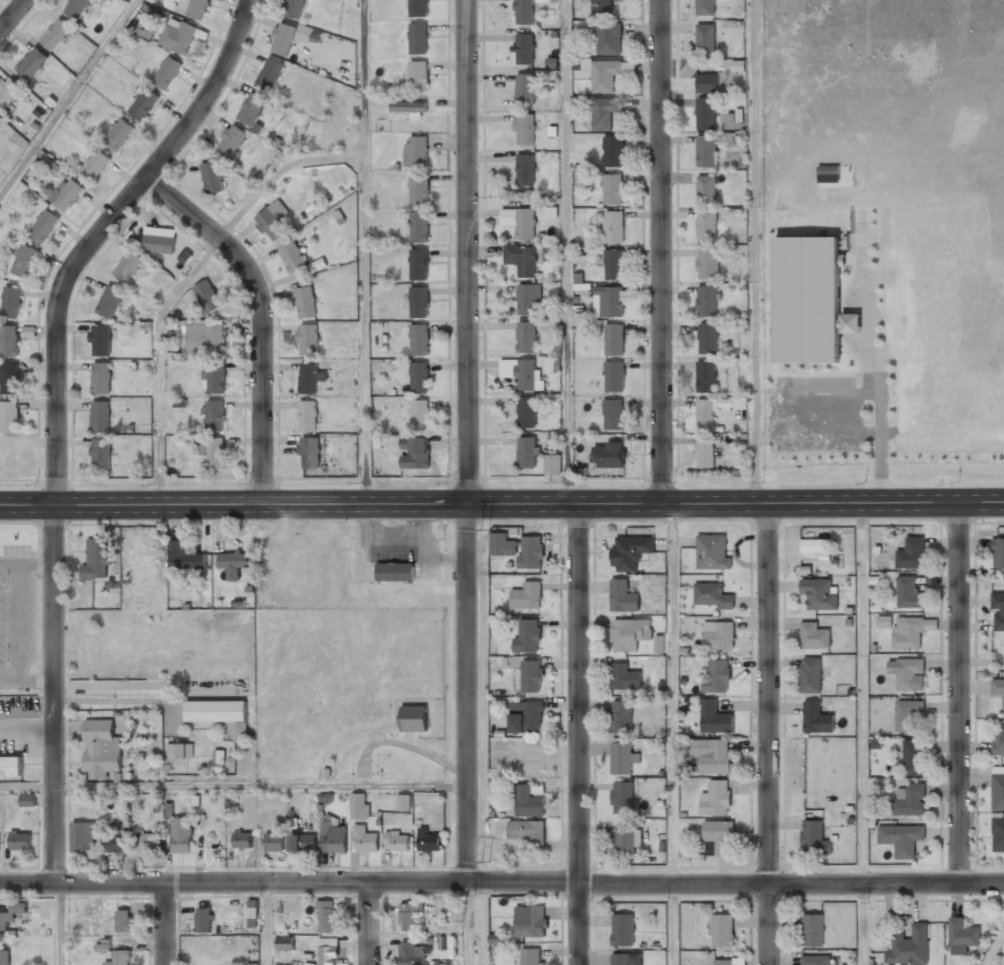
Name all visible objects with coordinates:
building: (73, 7)
building: (418, 7)
building: (703, 7)
building: (195, 8)
building: (292, 8)
building: (601, 8)
building: (524, 11)
road: (12, 14)
building: (144, 30)
building: (55, 33)
building: (178, 34)
building: (418, 38)
building: (609, 38)
building: (704, 38)
building: (282, 39)
building: (524, 48)
building: (30, 62)
building: (166, 72)
building: (609, 73)
building: (269, 74)
building: (418, 75)
building: (706, 83)
building: (524, 88)
building: (8, 90)
road: (68, 96)
building: (142, 104)
building: (250, 107)
building: (408, 107)
building: (605, 111)
building: (704, 113)
building: (524, 129)
building: (118, 135)
building: (230, 140)
building: (415, 151)
building: (613, 151)
building: (704, 151)
building: (94, 165)
building: (53, 167)
building: (525, 169)
building: (213, 177)
building: (418, 188)
building: (706, 188)
building: (612, 189)
building: (66, 193)
building: (271, 223)
building: (43, 224)
building: (525, 224)
building: (706, 225)
building: (613, 226)
building: (418, 227)
building: (159, 243)
road: (753, 251)
road: (364, 252)
road: (466, 252)
building: (550, 252)
road: (567, 252)
road: (660, 252)
building: (292, 257)
building: (521, 259)
building: (23, 260)
building: (708, 263)
building: (418, 264)
building: (613, 264)
building: (127, 266)
road: (184, 280)
building: (206, 296)
building: (527, 298)
building: (809, 300)
building: (607, 301)
building: (706, 301)
building: (108, 302)
building: (304, 302)
building: (418, 302)
building: (11, 303)
road: (260, 316)
building: (28, 331)
building: (525, 337)
building: (203, 338)
building: (708, 338)
building: (100, 339)
building: (308, 339)
building: (419, 339)
building: (614, 339)
building: (8, 341)
building: (519, 372)
building: (614, 376)
building: (705, 376)
building: (100, 377)
building: (419, 377)
building: (9, 378)
building: (213, 378)
building: (309, 378)
road: (55, 411)
building: (526, 412)
building: (213, 413)
building: (419, 414)
building: (613, 414)
building: (8, 416)
building: (99, 416)
building: (307, 416)
building: (704, 417)
building: (706, 450)
building: (213, 452)
building: (309, 452)
building: (413, 452)
building: (100, 454)
building: (539, 455)
building: (608, 455)
road: (502, 504)
power tower: (485, 528)
building: (816, 545)
building: (518, 548)
building: (630, 551)
building: (711, 552)
building: (910, 553)
building: (998, 555)
building: (184, 557)
building: (95, 560)
building: (232, 563)
building: (395, 572)
building: (908, 592)
building: (819, 594)
building: (527, 595)
building: (710, 596)
building: (622, 597)
building: (998, 613)
building: (907, 633)
building: (628, 634)
building: (527, 636)
building: (718, 636)
building: (813, 636)
building: (658, 644)
building: (907, 673)
building: (810, 674)
building: (532, 676)
building: (716, 676)
building: (623, 677)
building: (998, 689)
road: (467, 692)
road: (862, 692)
road: (958, 692)
building: (218, 714)
building: (907, 715)
building: (621, 716)
building: (816, 716)
building: (525, 717)
building: (413, 718)
building: (714, 718)
road: (576, 734)
road: (672, 734)
road: (766, 734)
building: (997, 743)
building: (100, 749)
building: (178, 752)
building: (711, 755)
building: (622, 757)
building: (912, 758)
building: (217, 761)
building: (10, 766)
road: (27, 786)
road: (261, 786)
building: (998, 791)
building: (622, 796)
building: (715, 798)
building: (27, 800)
building: (907, 801)
building: (403, 802)
building: (527, 802)
building: (358, 806)
building: (526, 831)
building: (181, 835)
building: (998, 835)
building: (82, 837)
building: (332, 837)
building: (813, 837)
building: (718, 838)
building: (363, 839)
building: (428, 839)
building: (241, 840)
building: (396, 840)
building: (627, 840)
building: (900, 840)
building: (19, 841)
building: (146, 842)
building: (273, 843)
building: (302, 843)
building: (113, 844)
power tower: (484, 861)
road: (502, 881)
building: (325, 916)
building: (408, 916)
building: (5, 921)
building: (122, 921)
building: (202, 921)
road: (60, 923)
road: (163, 923)
road: (266, 923)
road: (367, 923)
road: (467, 923)
building: (530, 923)
road: (863, 923)
building: (622, 930)
building: (722, 930)
building: (812, 930)
building: (961, 936)
building: (284, 943)
building: (909, 947)
road: (994, 949)
building: (326, 951)
building: (411, 954)
building: (532, 956)
building: (4, 958)
building: (119, 958)
building: (619, 959)
building: (815, 960)
building: (722, 962)

